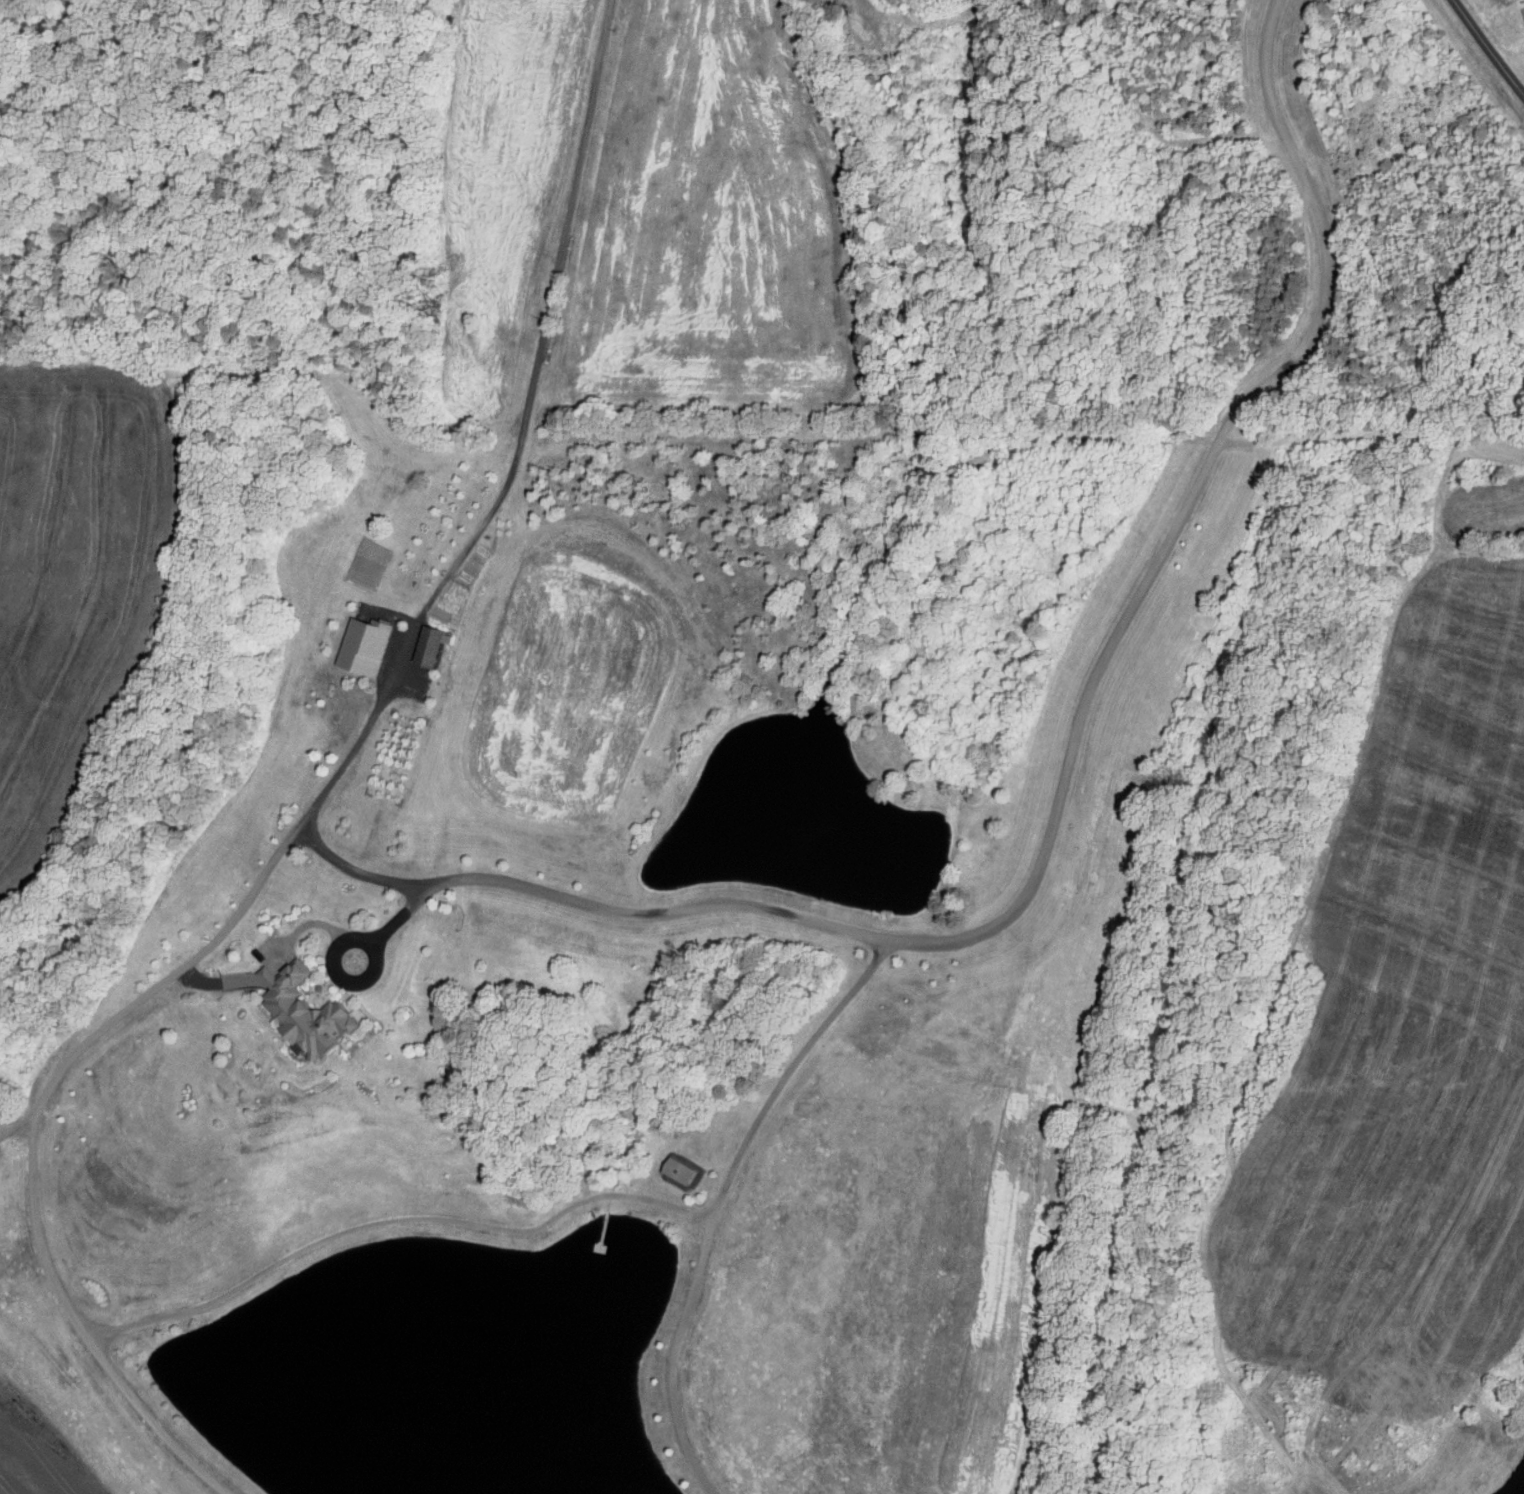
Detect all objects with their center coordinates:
road: (1489, 47)
building: (429, 644)
building: (363, 645)
road: (708, 903)
road: (402, 913)
road: (303, 925)
road: (337, 946)
building: (311, 1014)
park: (455, 1067)
road: (20, 1123)
building: (678, 1170)
road: (719, 1199)
road: (101, 1336)
road: (151, 1420)

